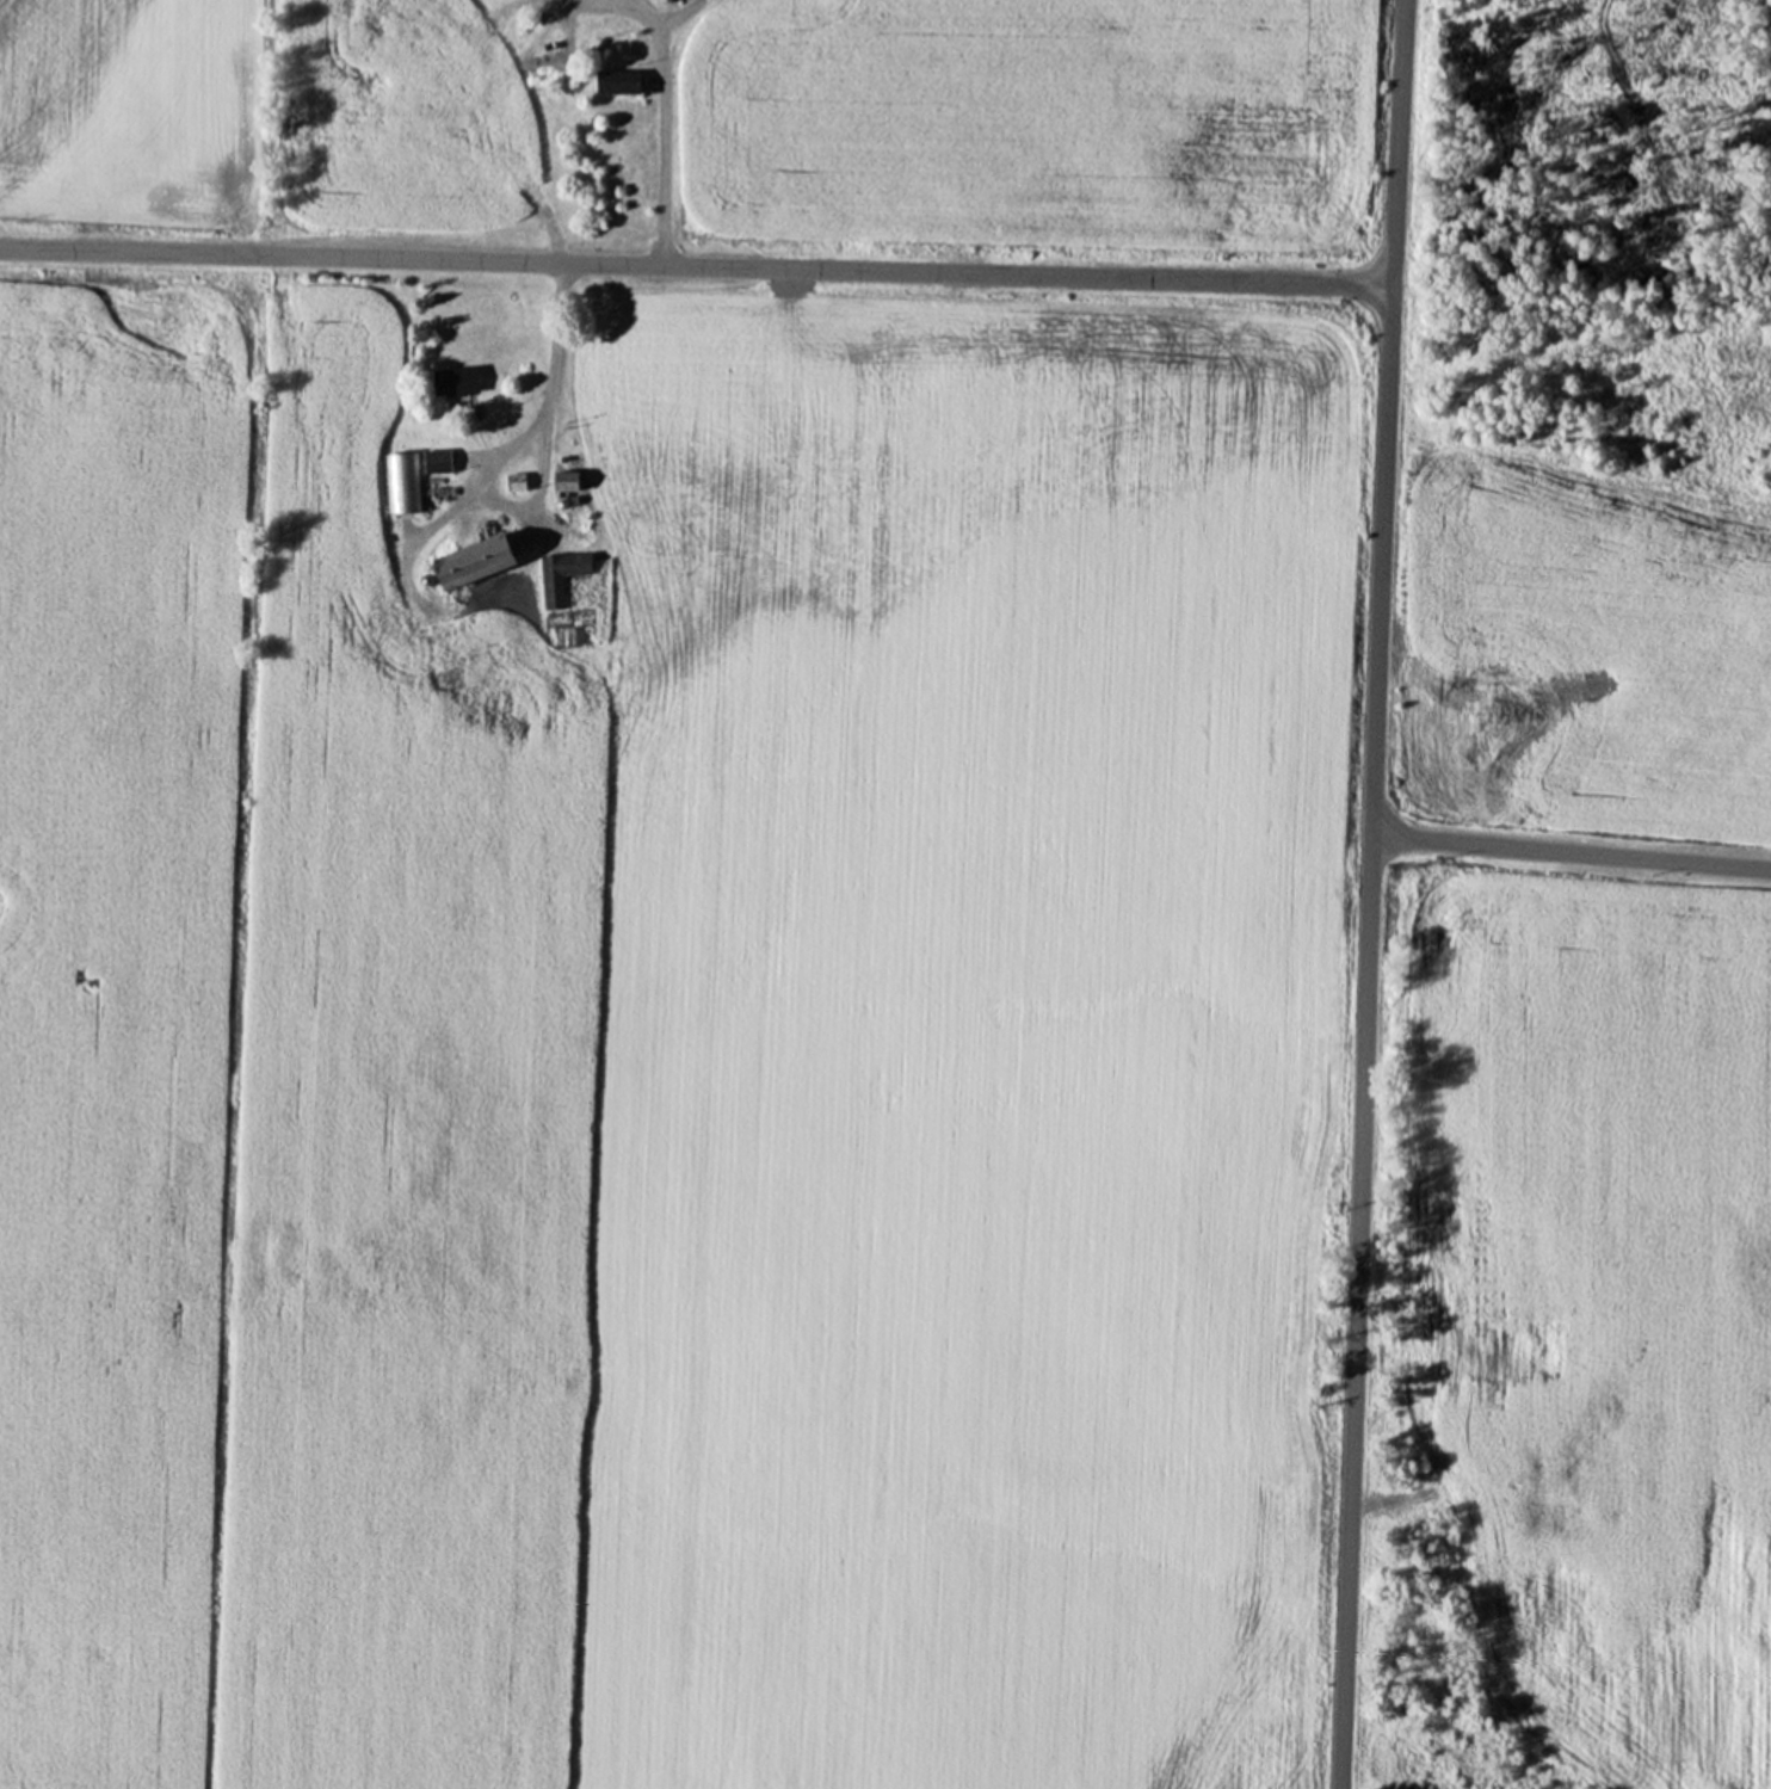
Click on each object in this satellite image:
building: (402, 29)
building: (615, 81)
road: (666, 106)
road: (693, 265)
building: (452, 380)
road: (548, 394)
building: (434, 461)
building: (561, 476)
building: (514, 481)
building: (401, 482)
building: (467, 561)
building: (559, 575)
road: (1571, 850)
road: (1368, 894)

